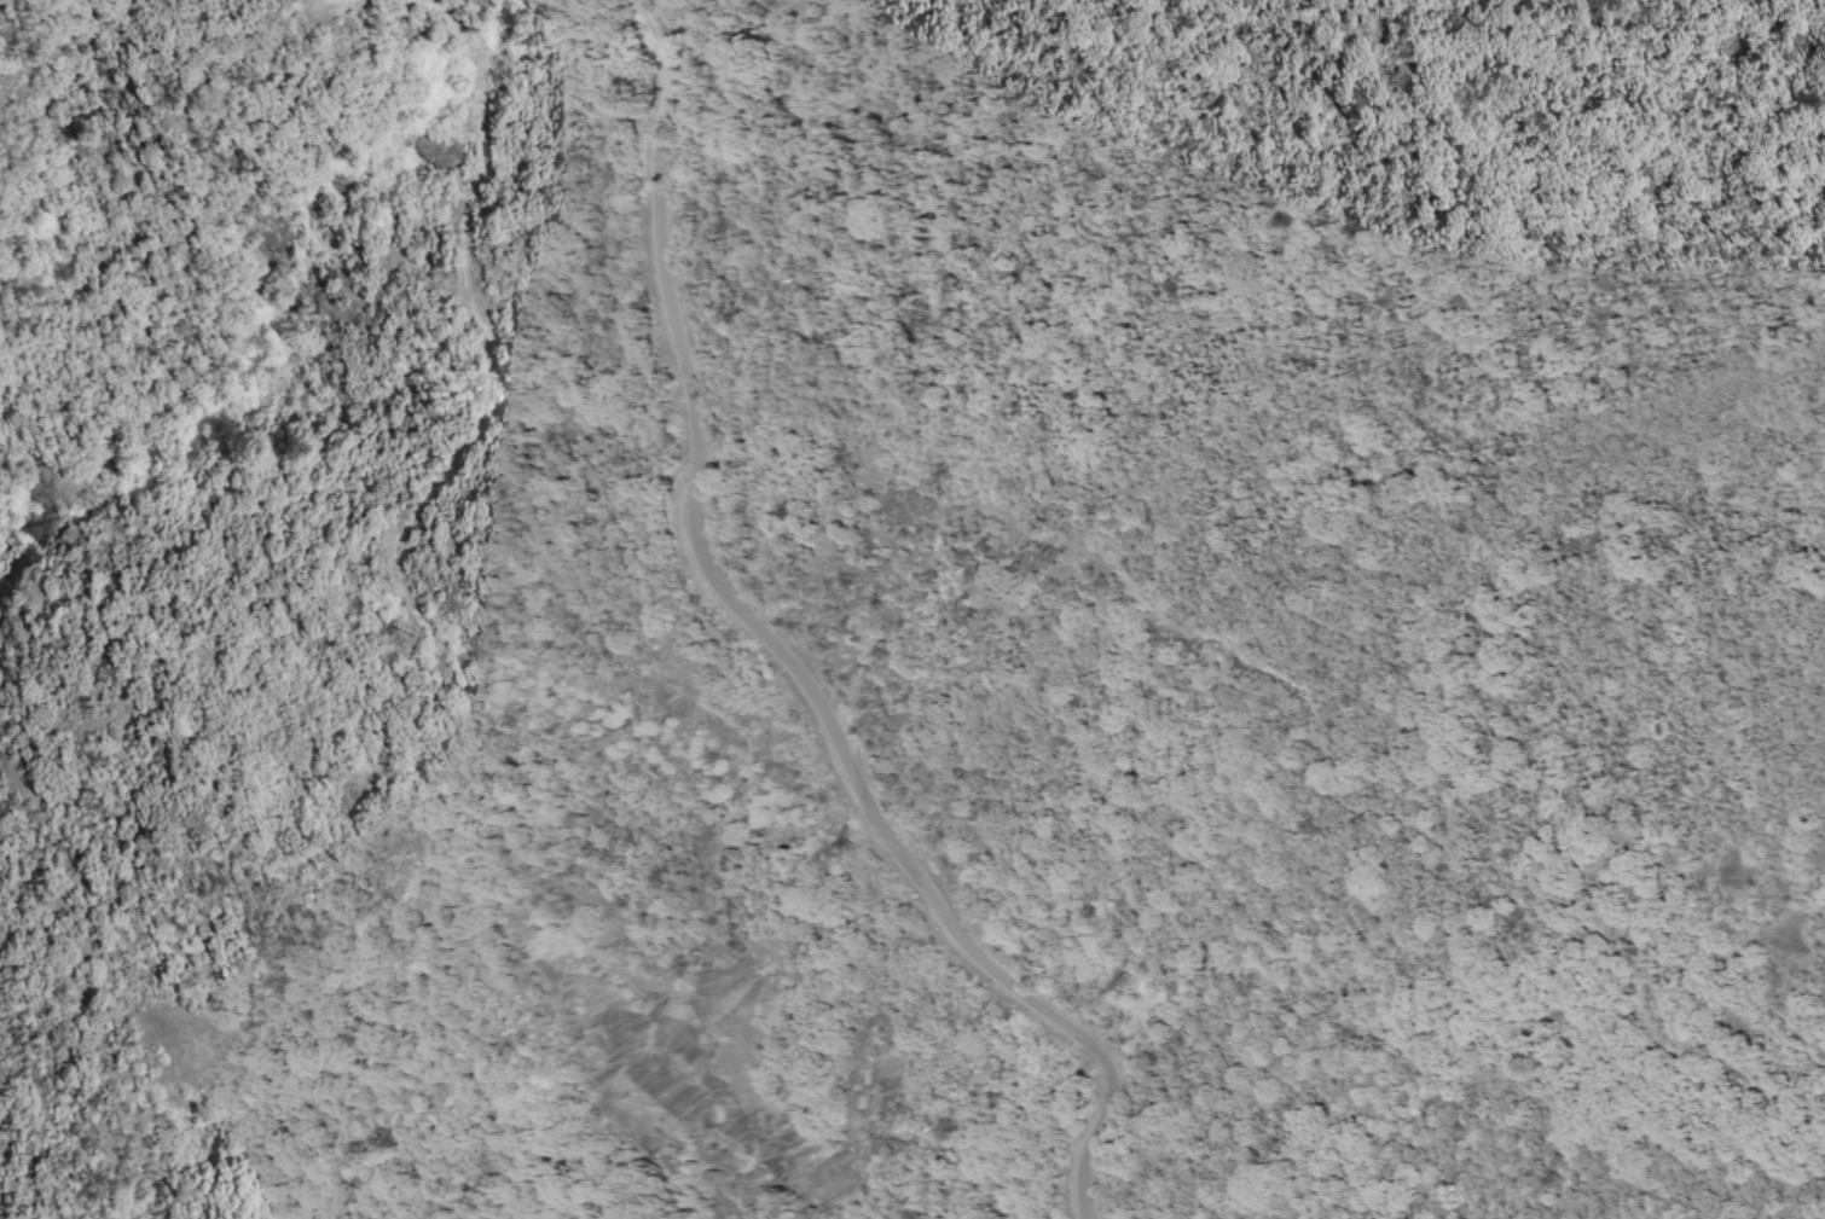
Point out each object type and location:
road: (784, 654)
power tower: (1132, 983)

